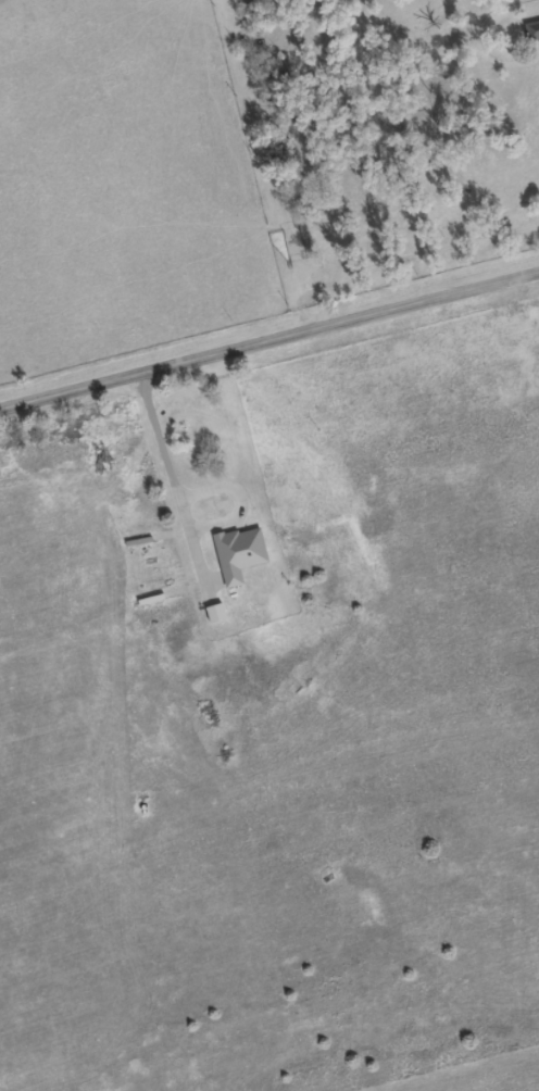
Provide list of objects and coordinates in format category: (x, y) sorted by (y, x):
building: (531, 32)
road: (400, 235)
road: (269, 341)
building: (181, 436)

